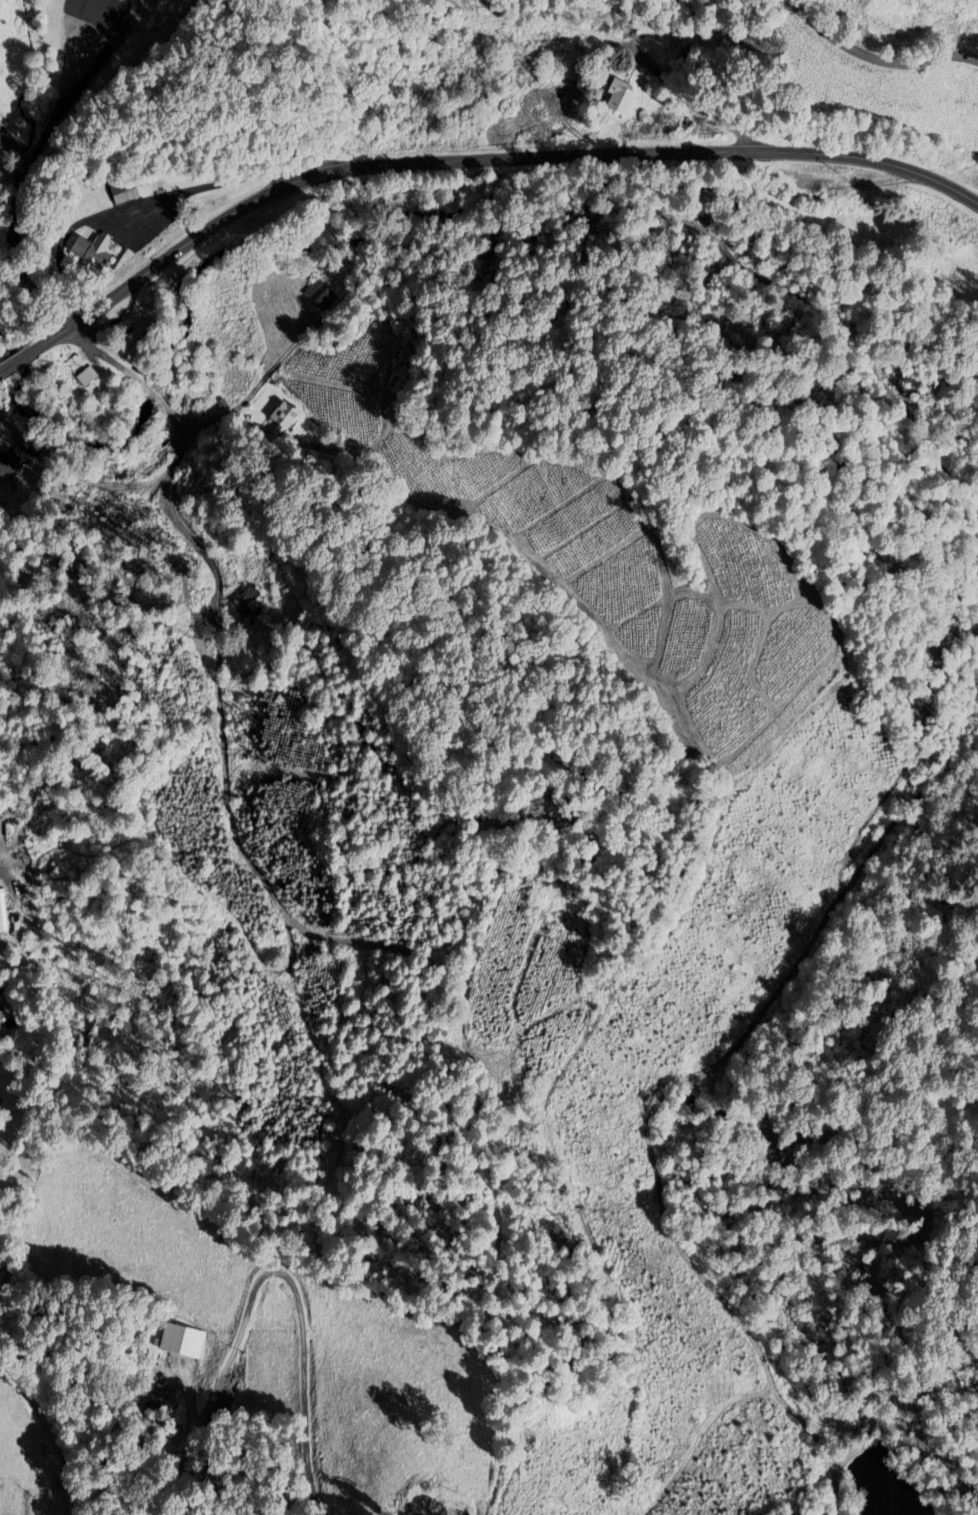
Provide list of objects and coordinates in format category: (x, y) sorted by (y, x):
road: (876, 56)
building: (627, 98)
road: (692, 106)
road: (8, 141)
road: (17, 158)
road: (483, 161)
building: (133, 190)
building: (96, 253)
road: (13, 257)
building: (322, 296)
road: (16, 364)
building: (87, 378)
building: (287, 417)
road: (180, 446)
building: (14, 462)
building: (248, 611)
building: (3, 1012)
building: (178, 1337)
road: (303, 1347)
road: (198, 1430)
building: (28, 1432)
road: (51, 1432)

